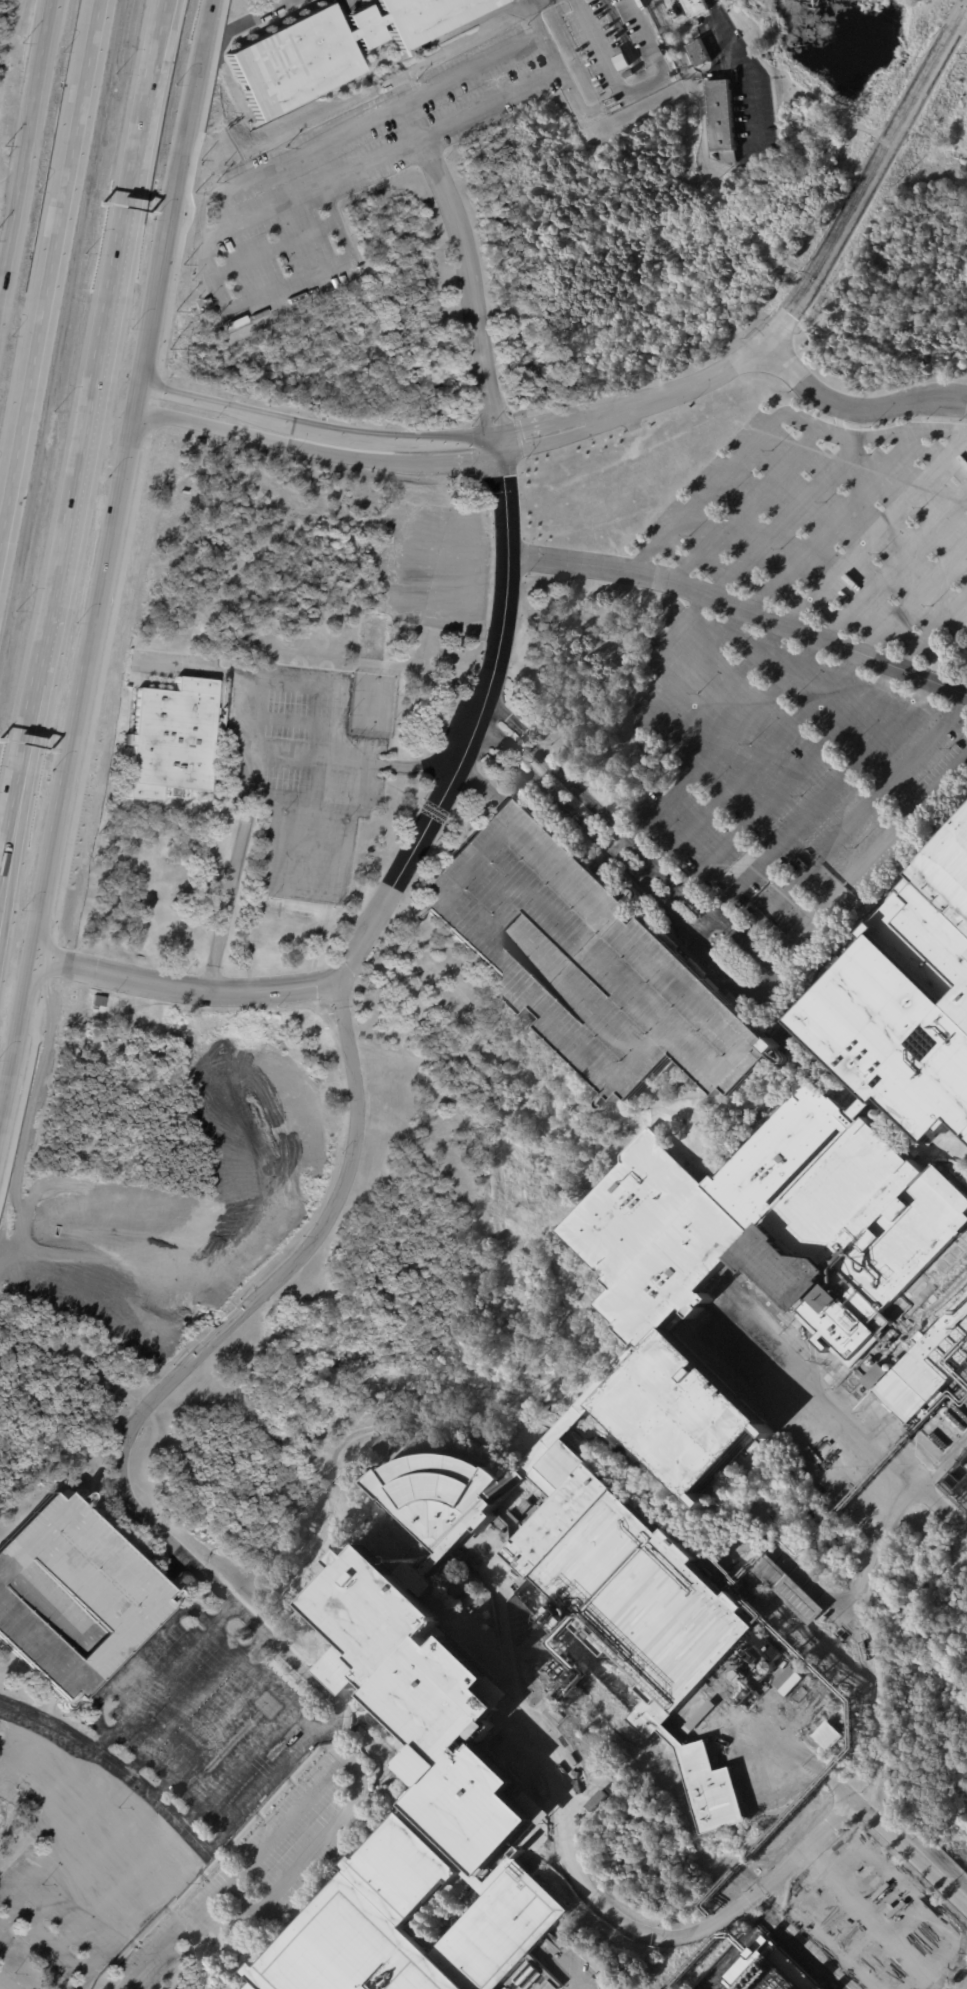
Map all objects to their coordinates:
road: (162, 1)
road: (162, 1)
road: (530, 2)
building: (692, 7)
building: (331, 48)
road: (598, 48)
building: (414, 51)
building: (697, 52)
road: (471, 67)
road: (751, 67)
road: (602, 105)
road: (412, 117)
building: (721, 119)
road: (309, 145)
road: (26, 150)
road: (345, 172)
road: (173, 217)
road: (271, 246)
road: (828, 247)
road: (323, 267)
road: (52, 270)
road: (472, 290)
building: (206, 303)
road: (99, 353)
road: (853, 407)
road: (611, 413)
road: (867, 437)
road: (702, 493)
road: (744, 505)
road: (782, 518)
road: (832, 522)
road: (821, 585)
road: (117, 591)
road: (741, 610)
road: (829, 631)
road: (701, 658)
road: (333, 684)
road: (85, 699)
road: (814, 702)
road: (665, 727)
road: (465, 729)
building: (169, 737)
road: (825, 738)
road: (17, 778)
road: (822, 800)
road: (858, 820)
road: (18, 824)
road: (869, 860)
road: (267, 870)
road: (229, 892)
building: (593, 967)
parking lot: (593, 967)
road: (774, 984)
road: (186, 988)
building: (906, 1001)
road: (496, 1031)
road: (19, 1046)
building: (777, 1228)
road: (574, 1315)
building: (873, 1375)
building: (930, 1375)
road: (560, 1383)
parking lot: (812, 1401)
road: (538, 1408)
building: (679, 1414)
road: (124, 1450)
building: (957, 1483)
building: (447, 1511)
road: (866, 1569)
building: (789, 1592)
building: (633, 1596)
building: (471, 1599)
building: (748, 1599)
building: (74, 1605)
parking garage: (74, 1605)
building: (825, 1621)
road: (164, 1676)
building: (789, 1681)
road: (282, 1692)
building: (803, 1693)
road: (195, 1700)
road: (878, 1712)
parking lot: (201, 1719)
building: (437, 1719)
building: (830, 1737)
road: (114, 1763)
road: (357, 1786)
building: (409, 1800)
building: (600, 1802)
parking lot: (82, 1859)
parking lot: (268, 1861)
parking lot: (875, 1917)
road: (726, 1923)
road: (771, 1927)
building: (423, 1928)
road: (176, 1937)
building: (766, 1971)
road: (584, 1986)

